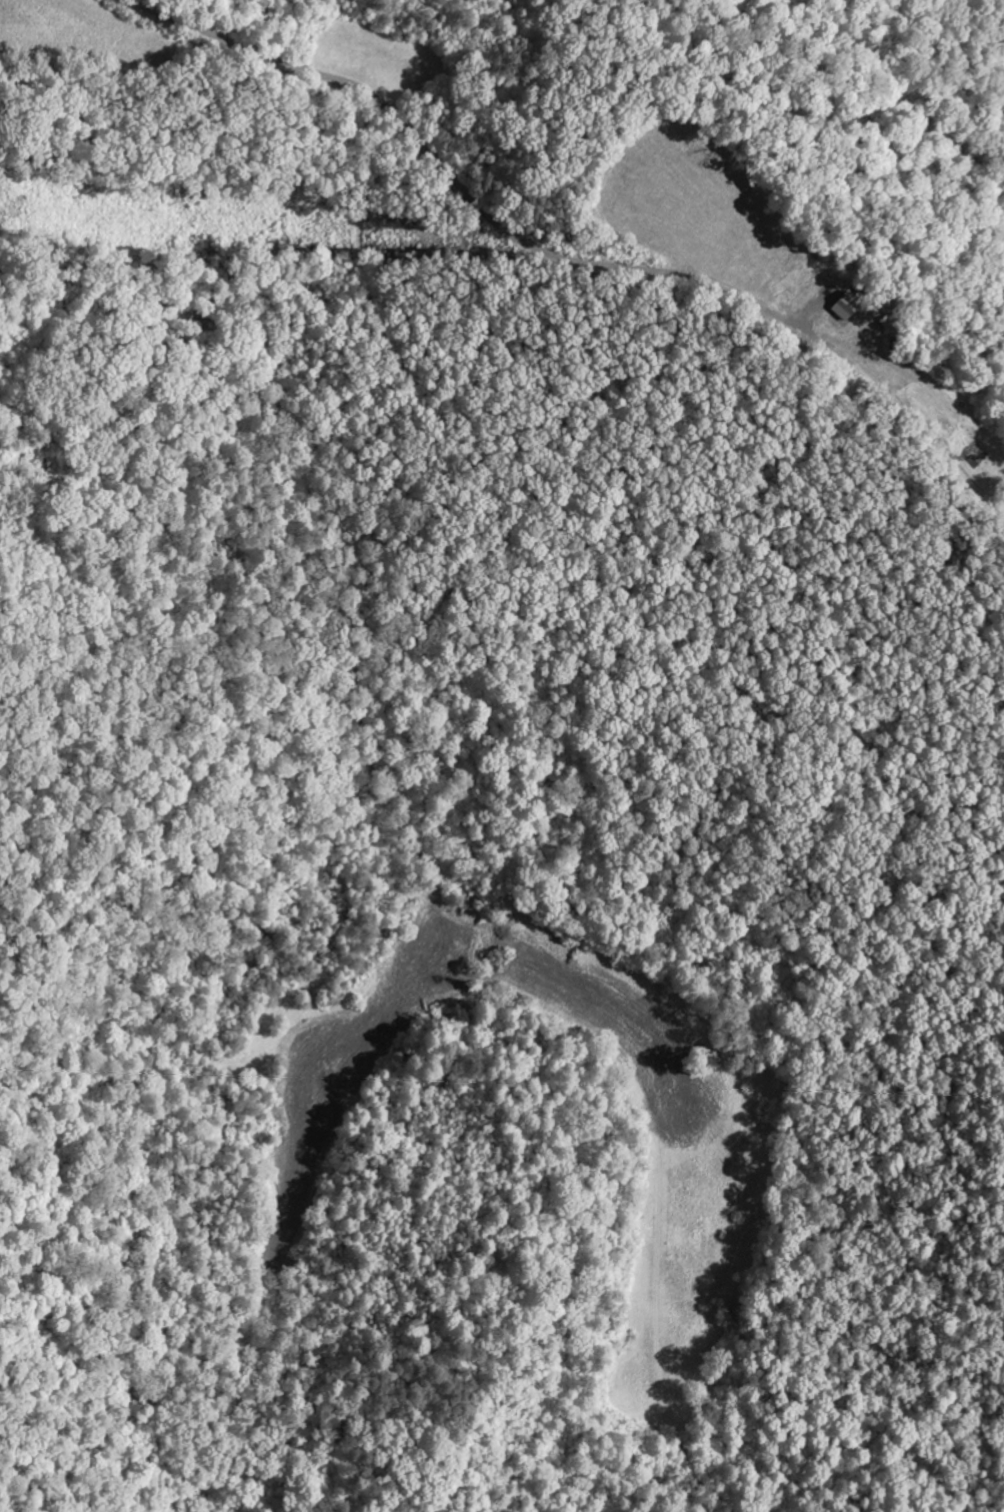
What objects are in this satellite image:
road: (525, 183)
building: (850, 308)

